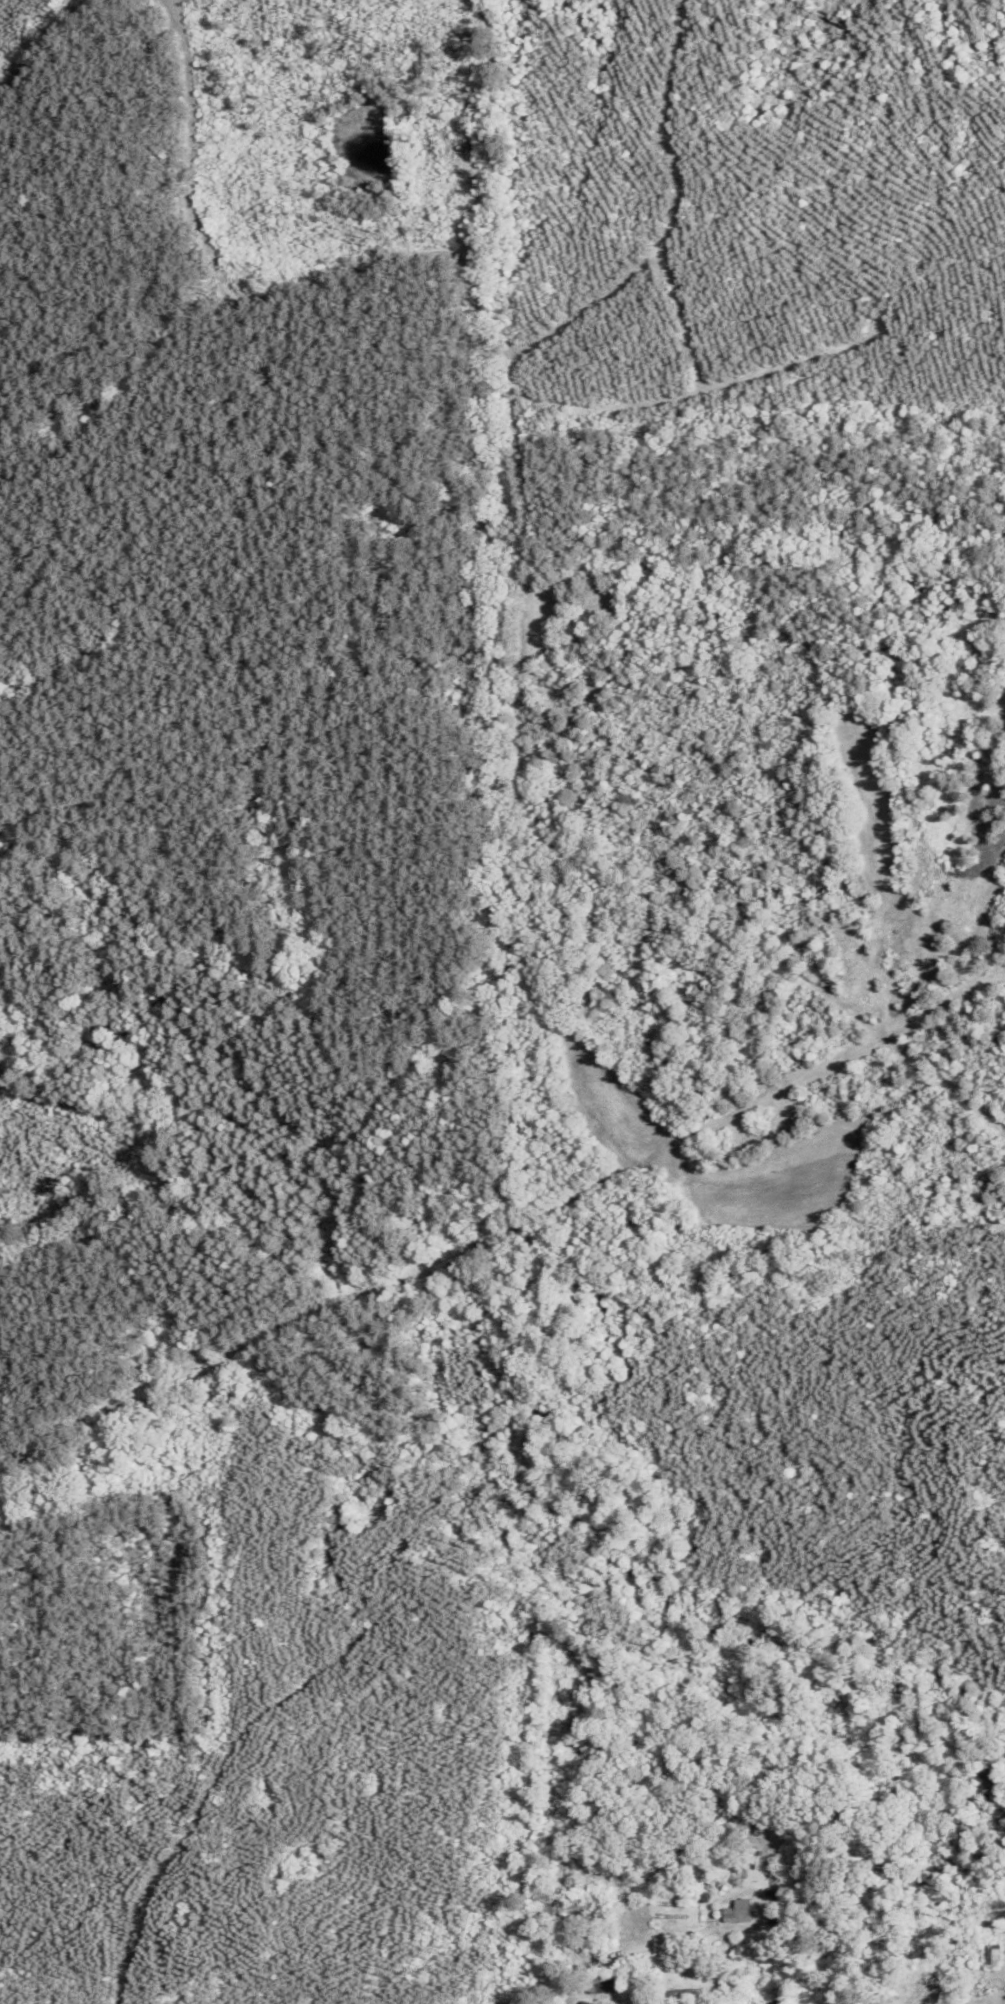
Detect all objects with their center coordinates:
road: (317, 1856)
building: (549, 1911)
building: (734, 1912)
building: (989, 1959)
building: (598, 1986)
building: (632, 2000)
building: (913, 2002)

